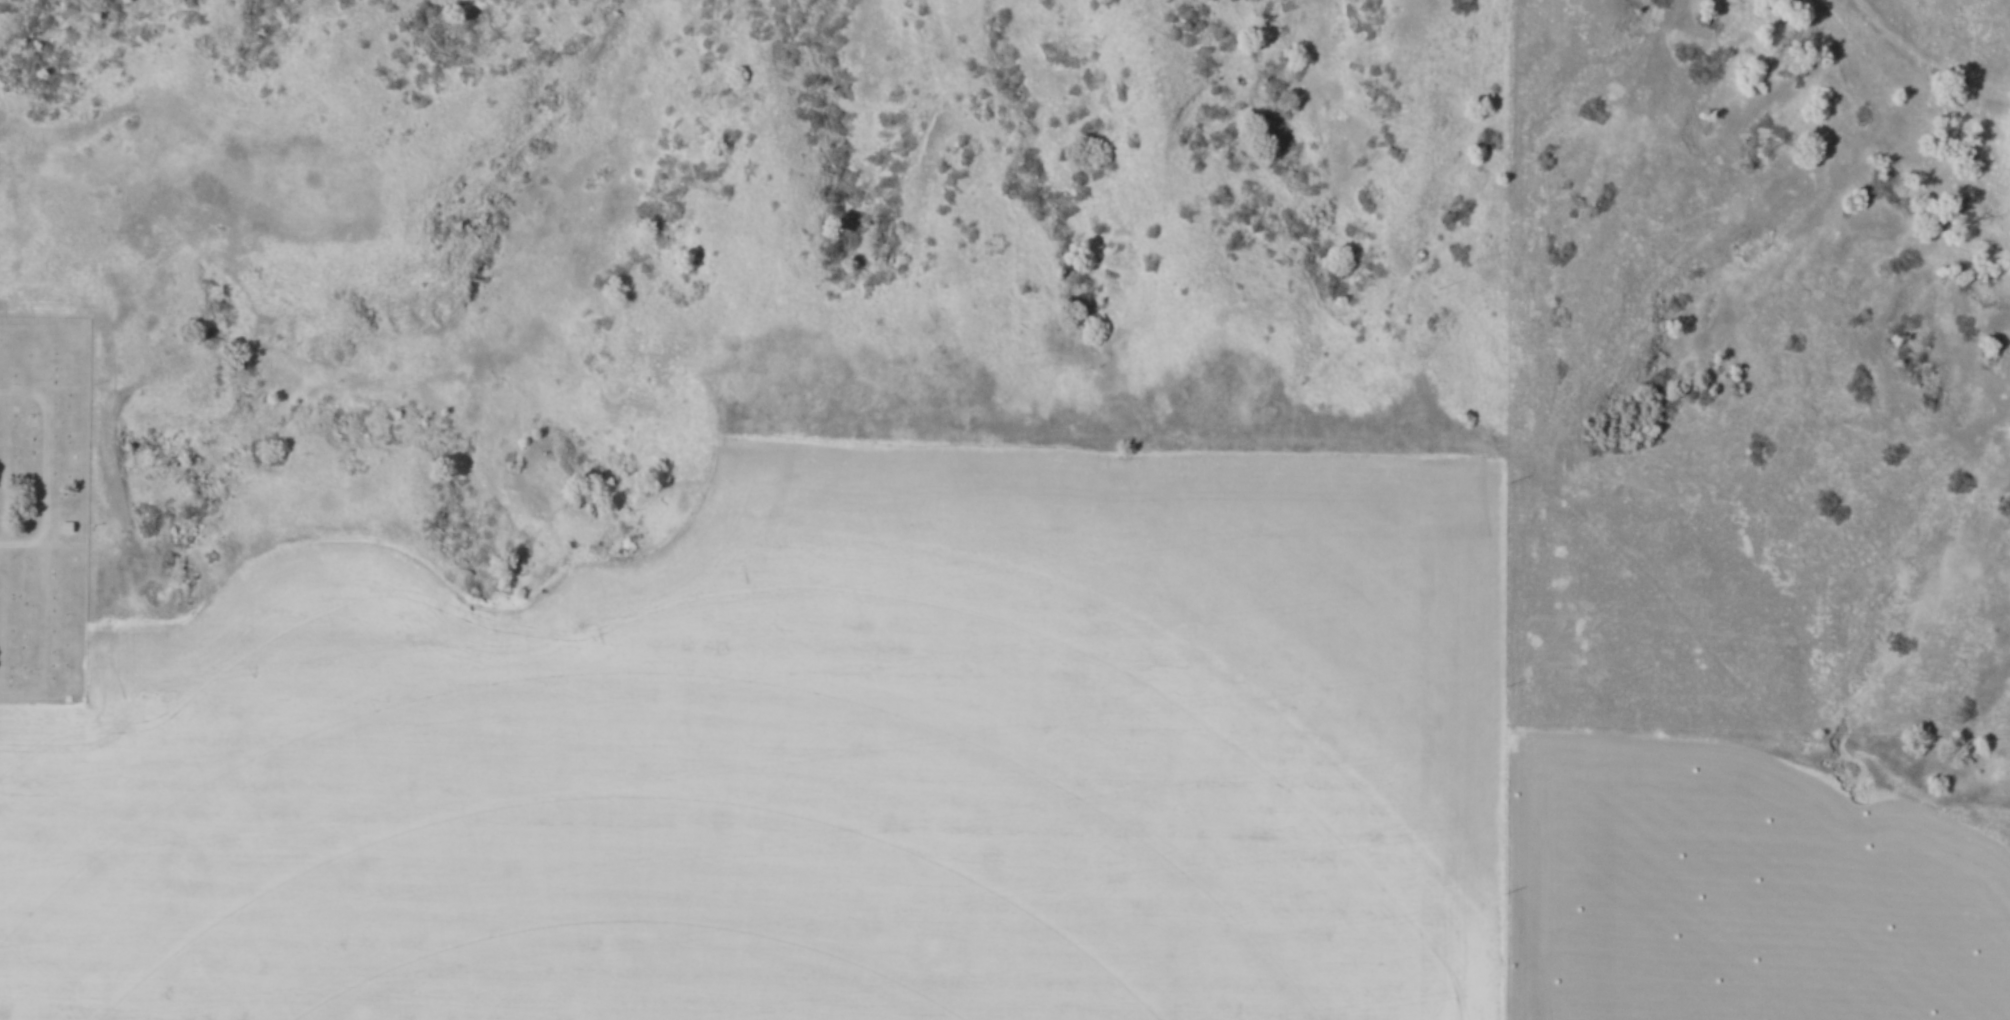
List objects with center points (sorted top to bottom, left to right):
building: (66, 527)
road: (14, 541)
crop: (1741, 883)

